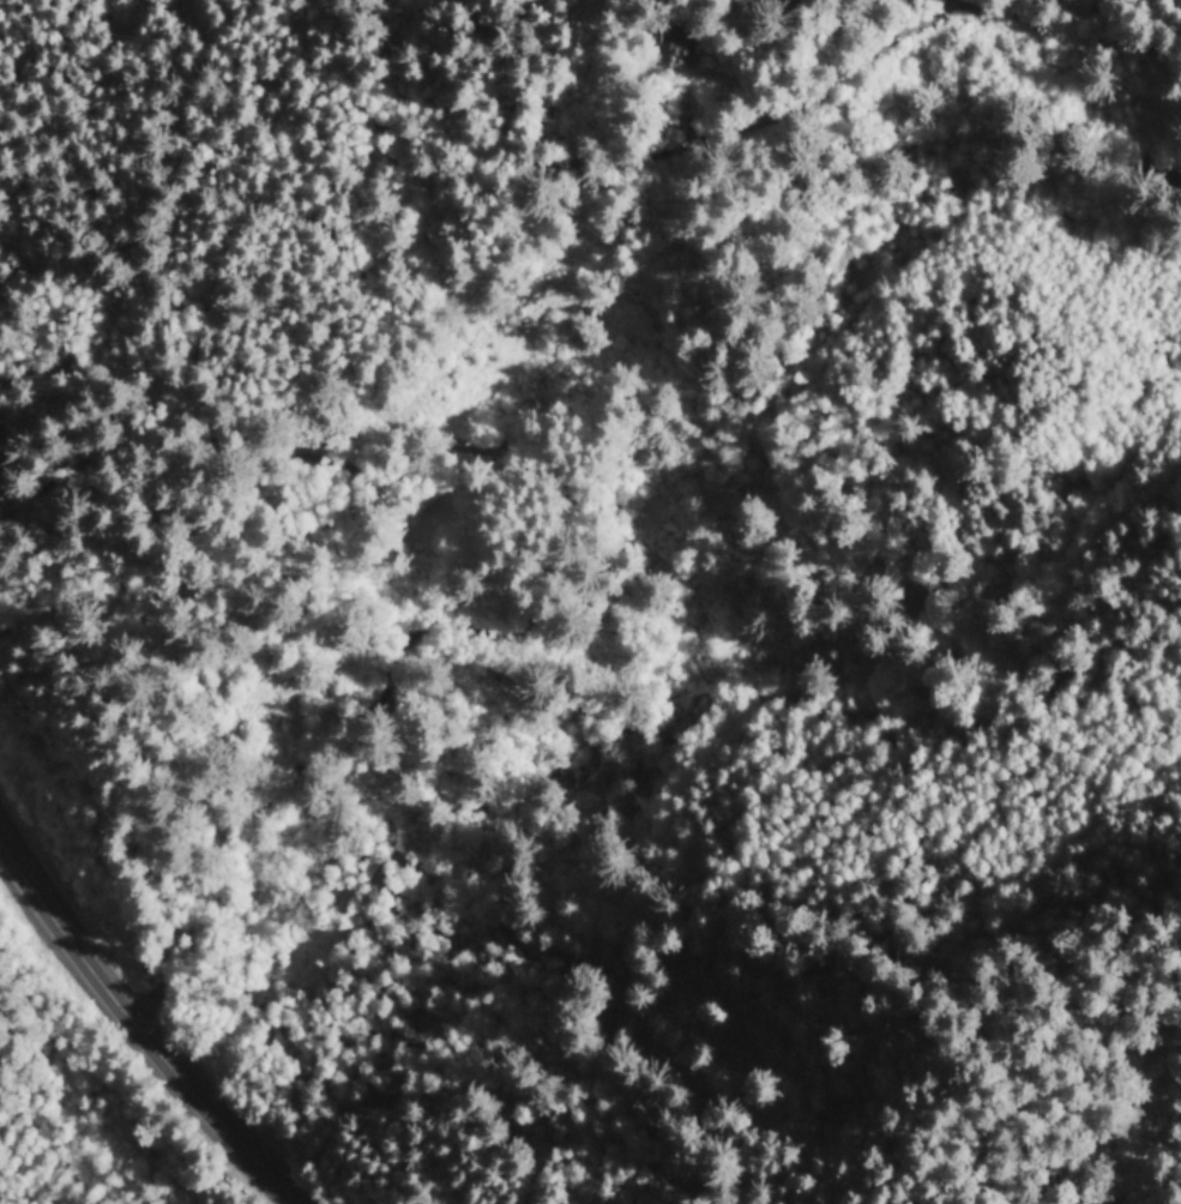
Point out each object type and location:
road: (135, 1040)
road: (62, 1148)

